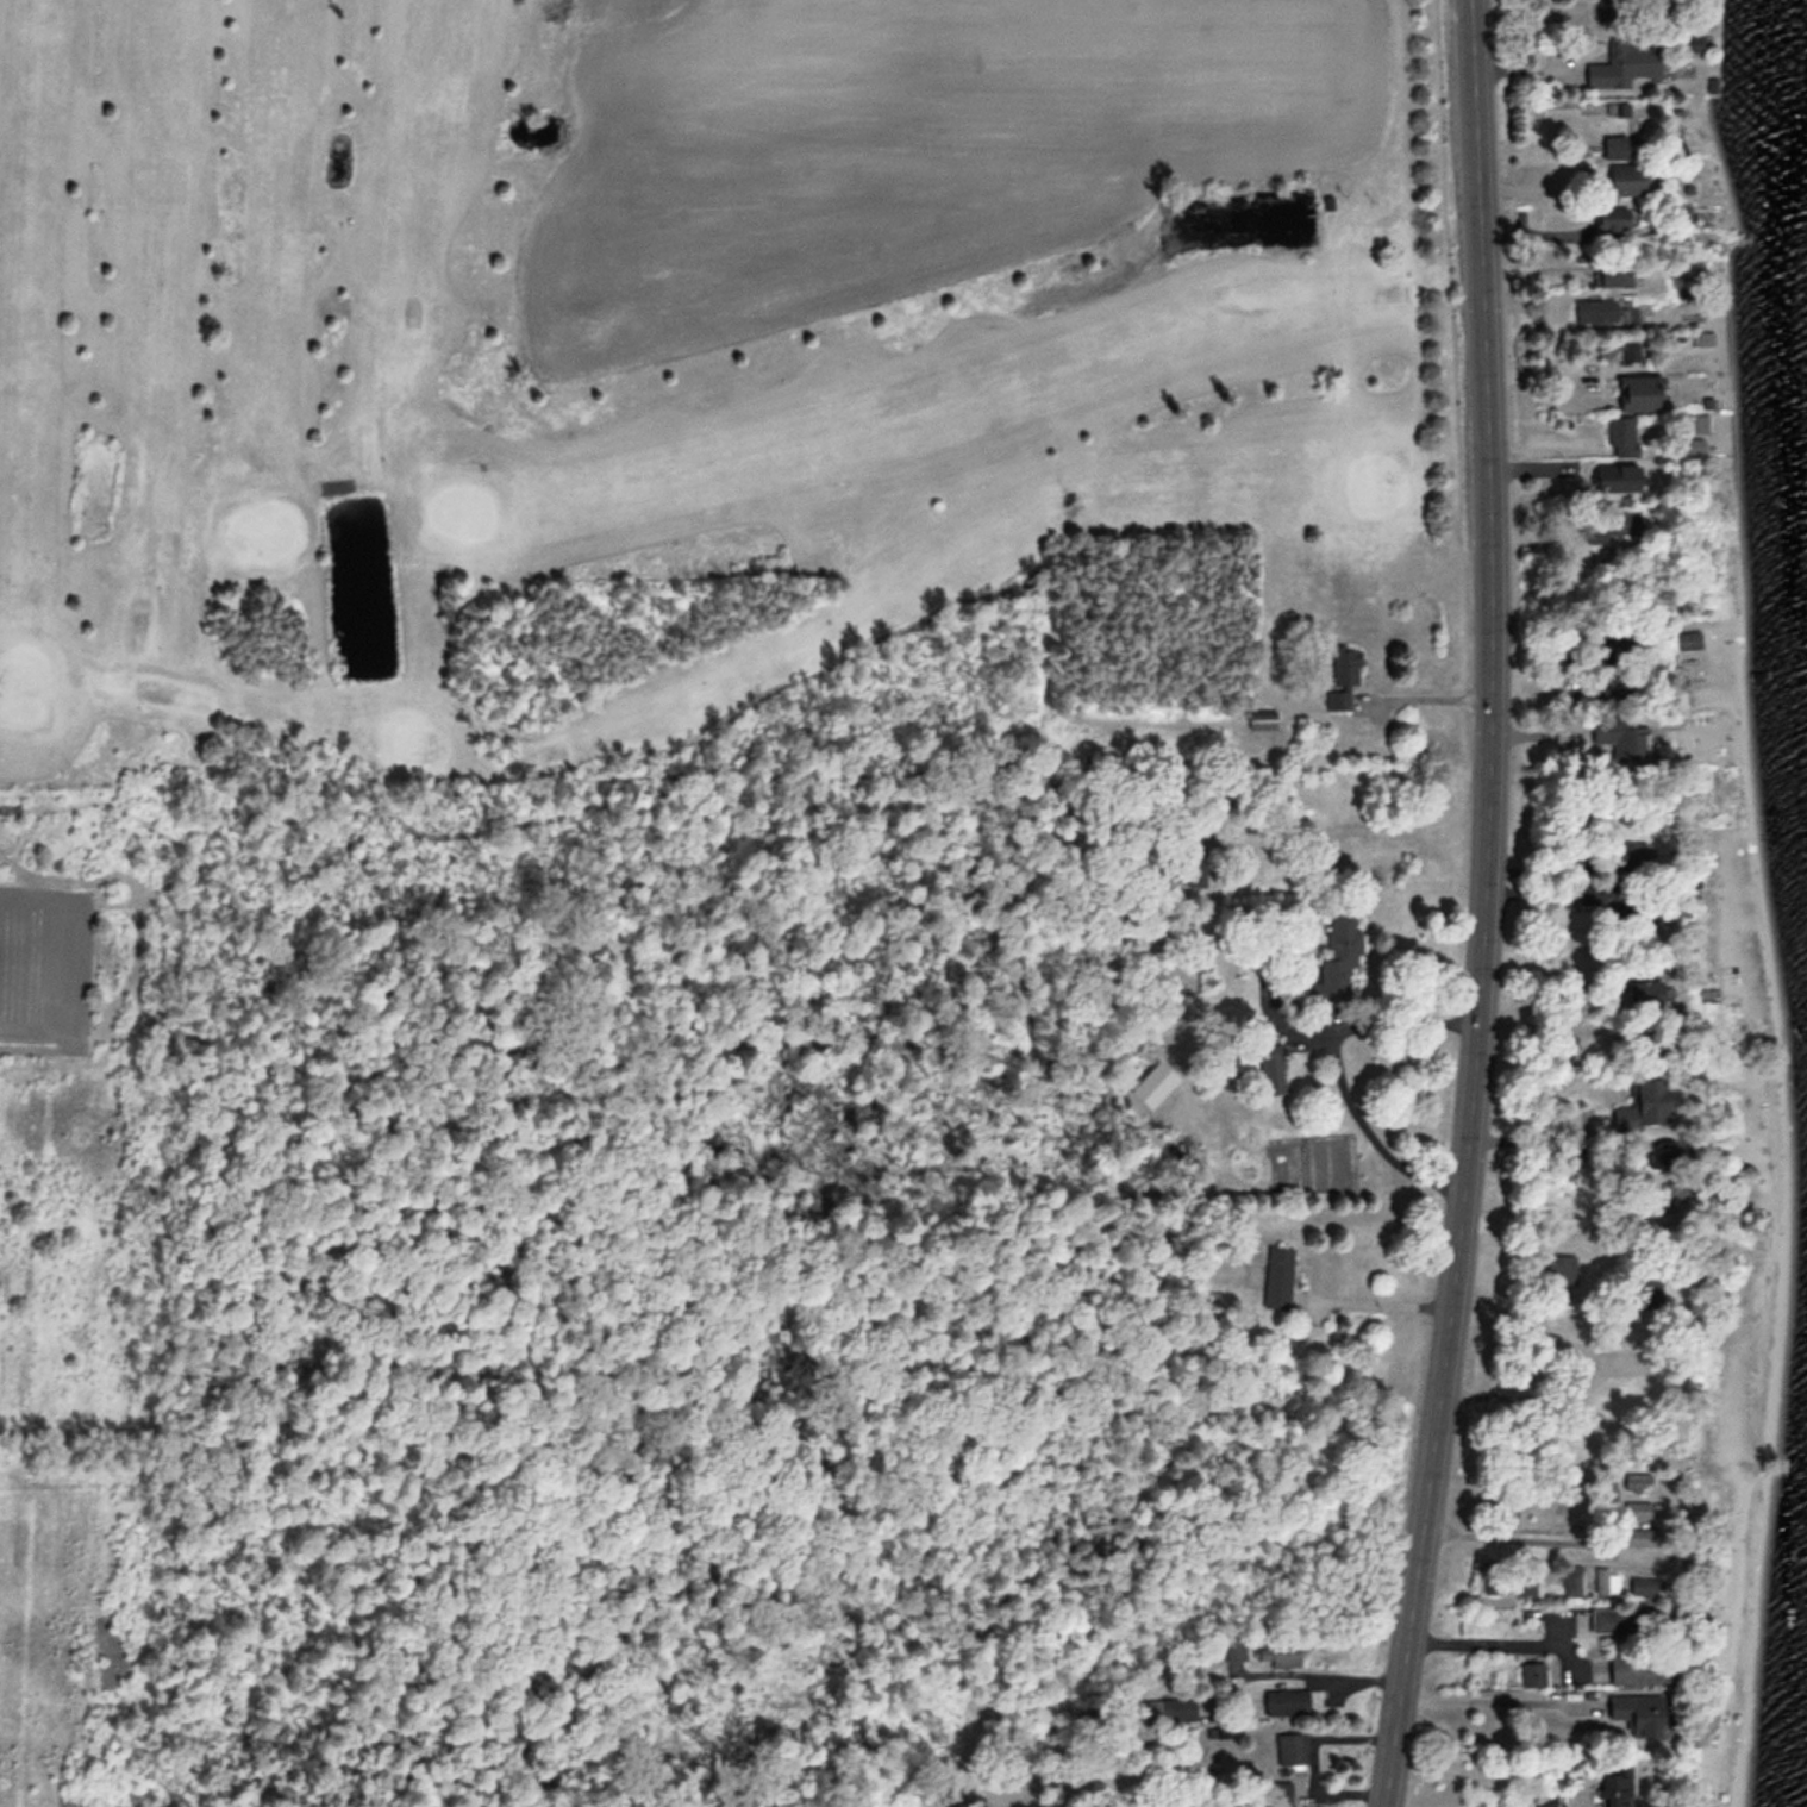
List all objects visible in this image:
building: (1612, 7)
building: (1626, 61)
building: (1617, 144)
building: (1630, 176)
building: (1614, 217)
building: (1617, 274)
building: (1601, 309)
building: (1702, 337)
building: (1630, 349)
park: (649, 367)
building: (1622, 433)
building: (1612, 521)
building: (1690, 637)
building: (1611, 639)
building: (1343, 675)
road: (1426, 694)
building: (1262, 715)
building: (1622, 732)
building: (1628, 852)
building: (1193, 871)
building: (1603, 893)
road: (1486, 906)
building: (1340, 953)
building: (1642, 990)
building: (1270, 1057)
building: (1646, 1103)
road: (1536, 1136)
road: (1369, 1143)
building: (1278, 1276)
road: (1377, 1301)
building: (1638, 1480)
road: (1600, 1484)
building: (1638, 1507)
building: (1640, 1534)
building: (1493, 1572)
building: (1607, 1578)
building: (1643, 1582)
building: (1618, 1620)
road: (1486, 1640)
building: (1233, 1644)
building: (1278, 1652)
building: (1627, 1667)
building: (1533, 1669)
building: (1288, 1699)
road: (1492, 1700)
building: (1180, 1707)
building: (1640, 1712)
building: (1292, 1751)
road: (1483, 1767)
building: (1618, 1784)
building: (1546, 1799)

